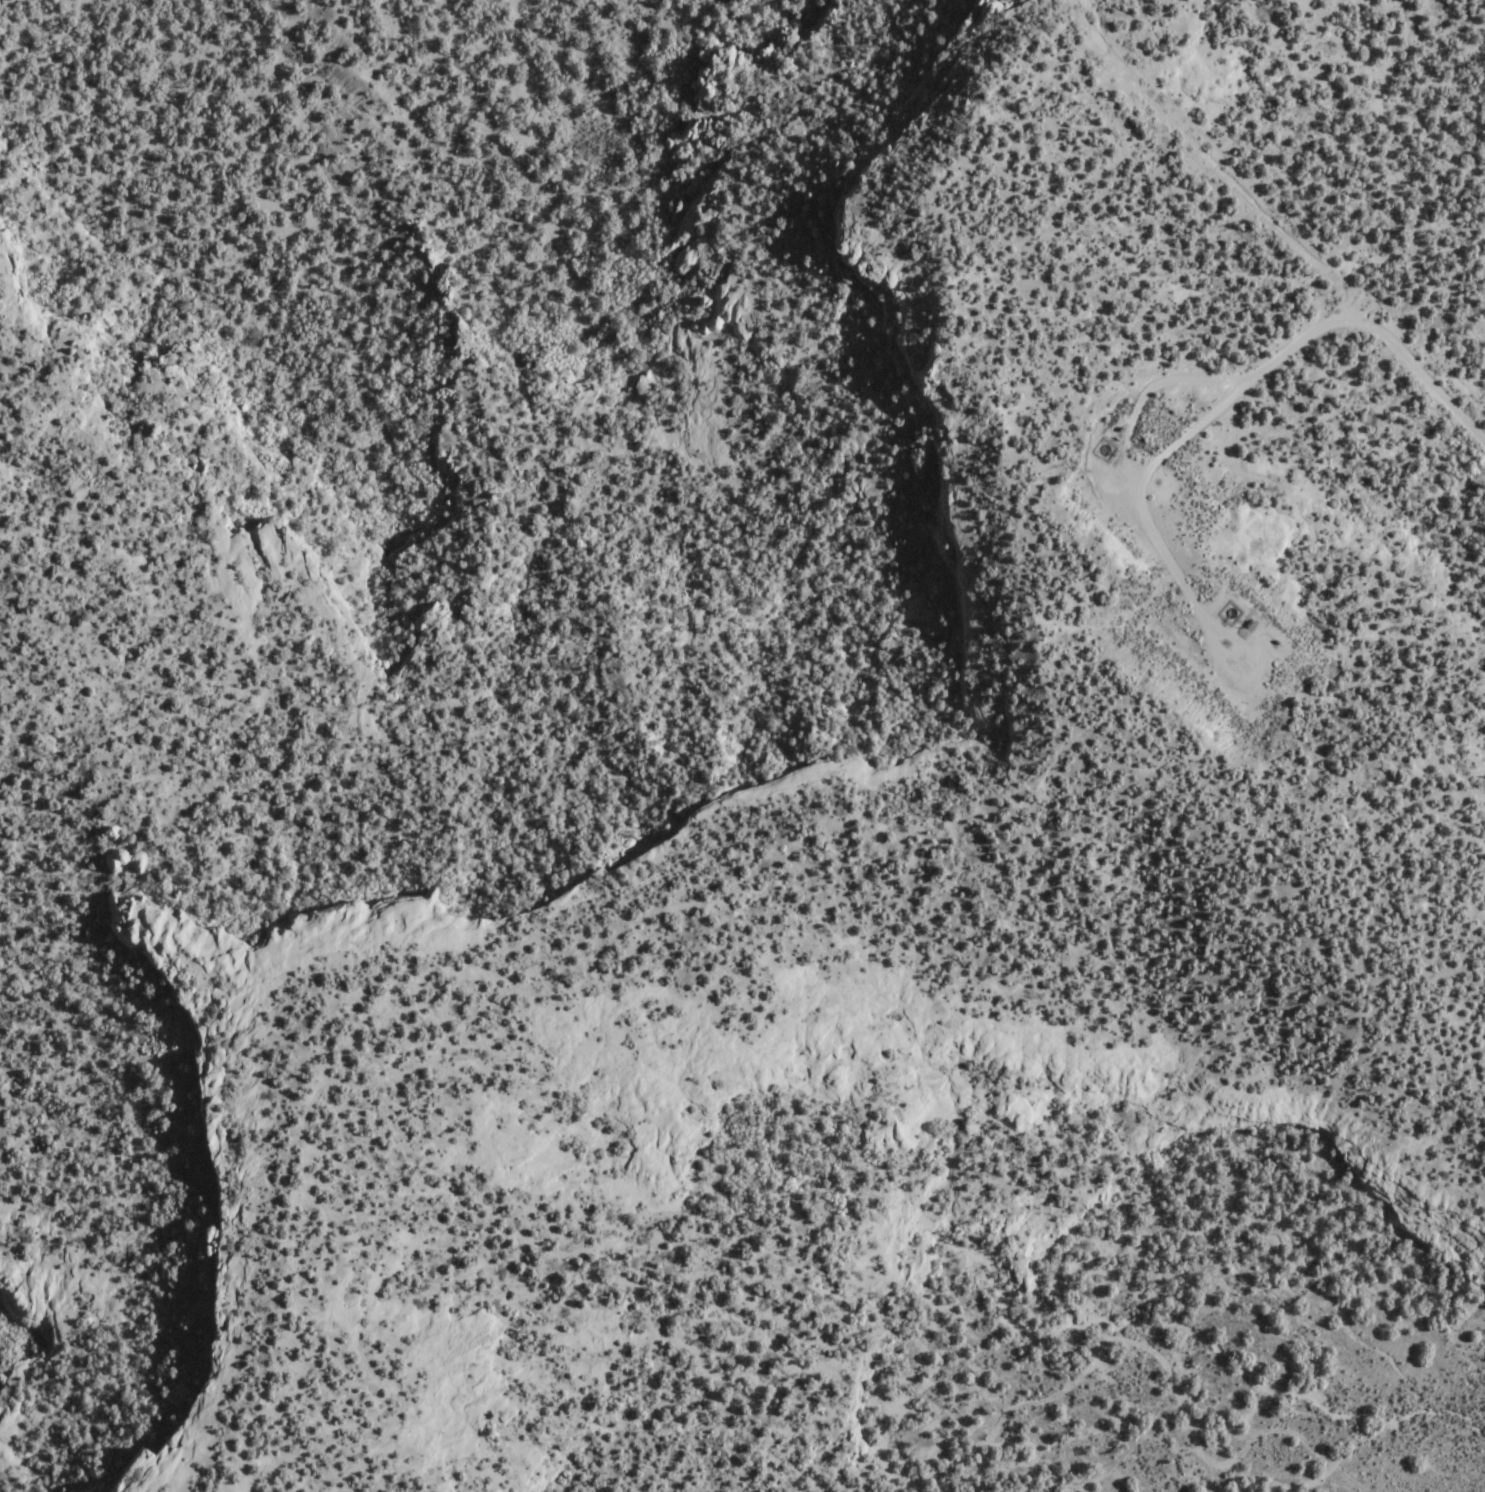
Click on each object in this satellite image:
road: (1317, 268)

